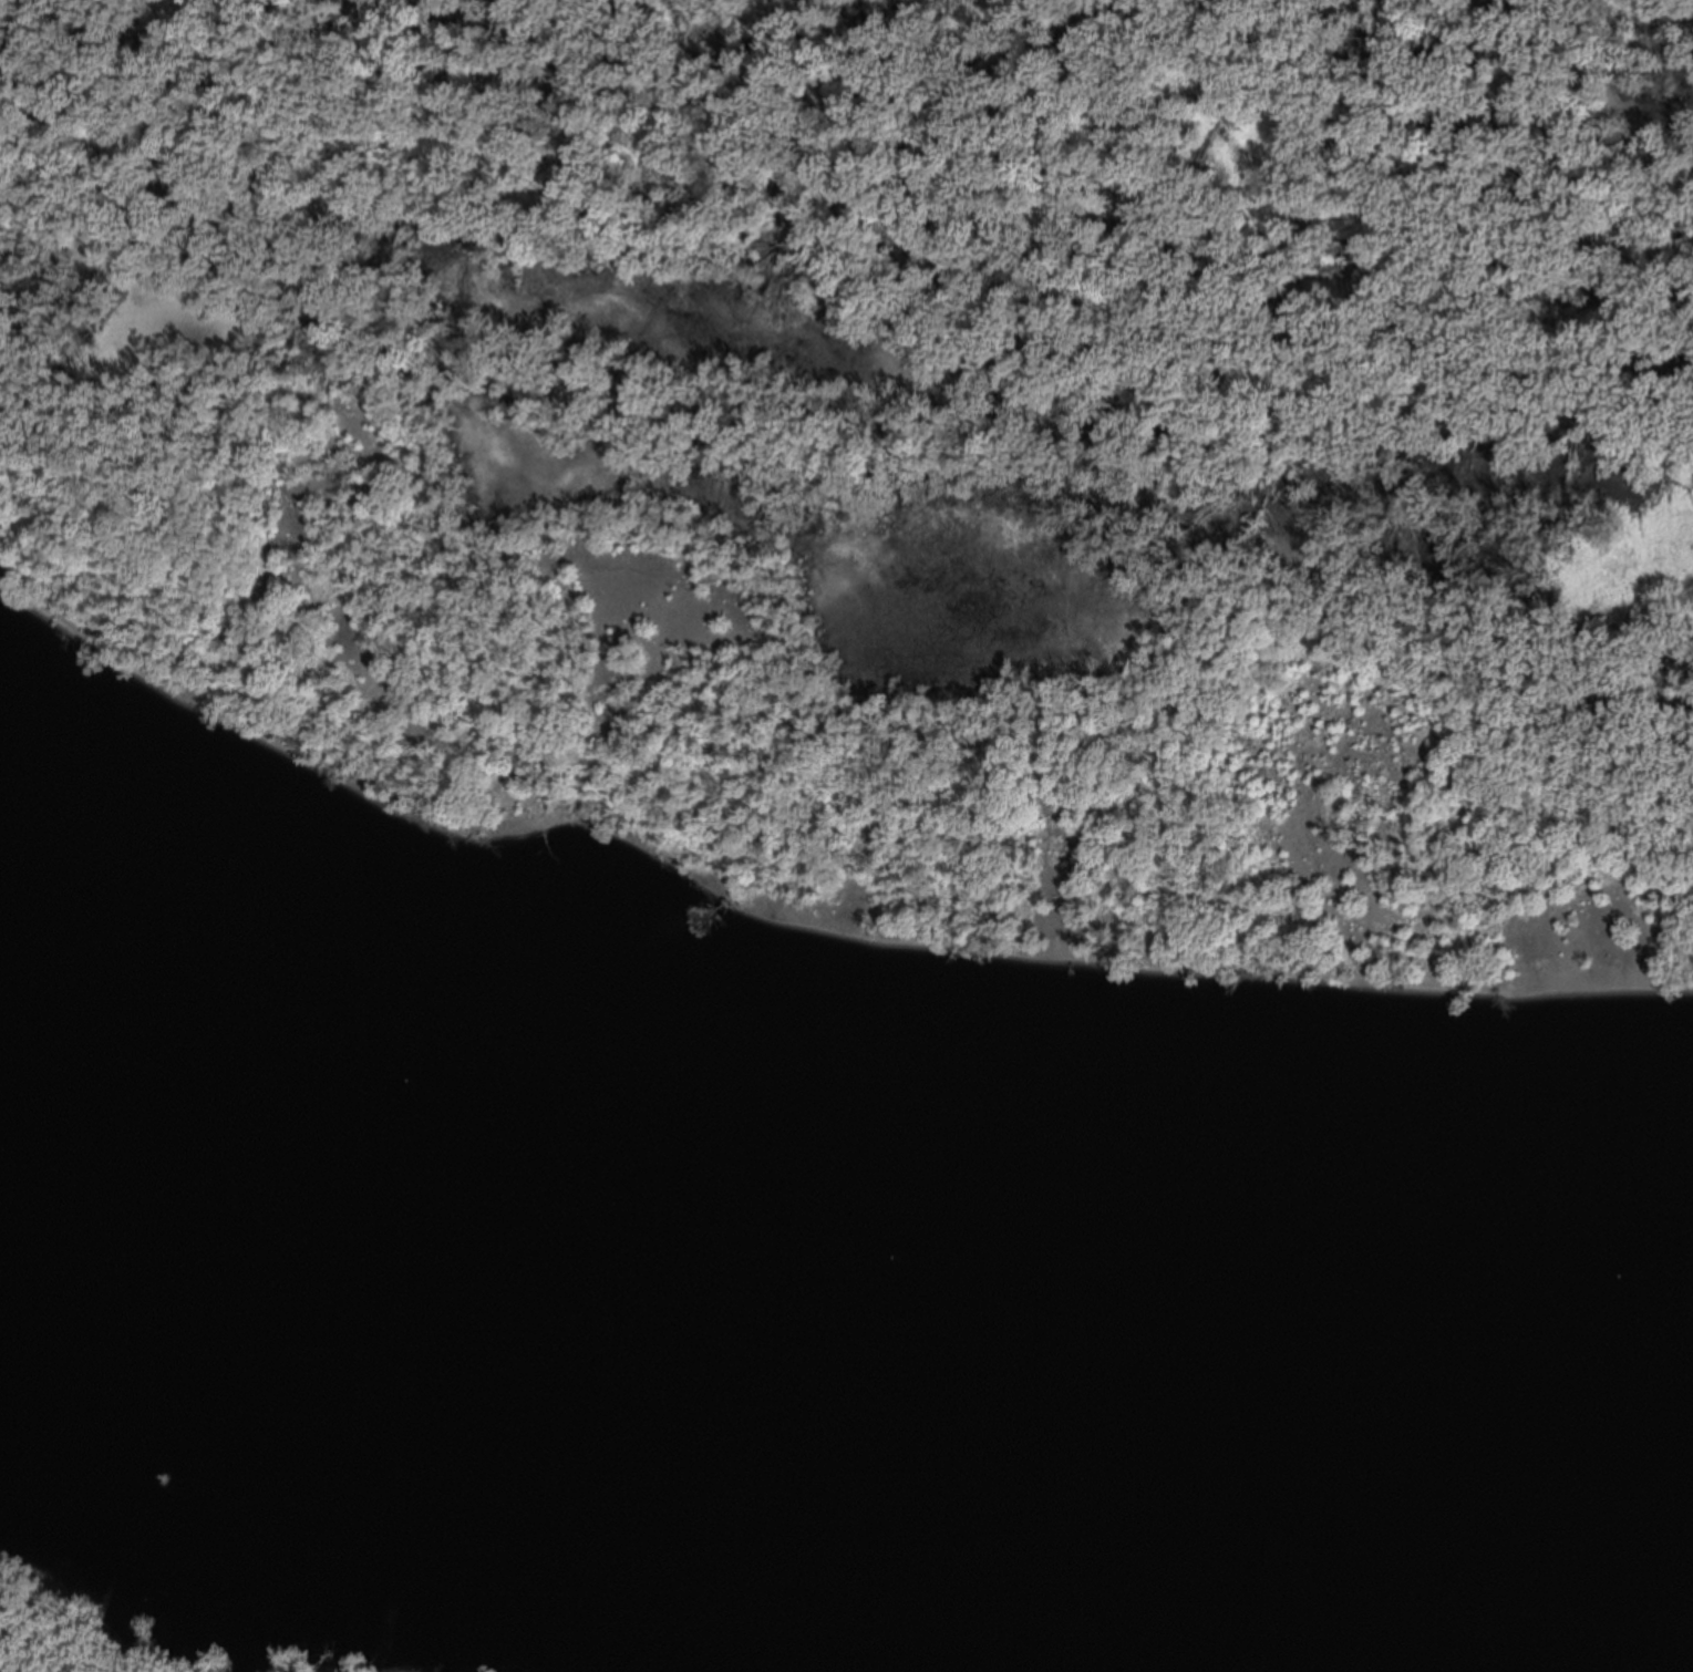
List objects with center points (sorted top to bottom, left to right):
river: (832, 1507)

